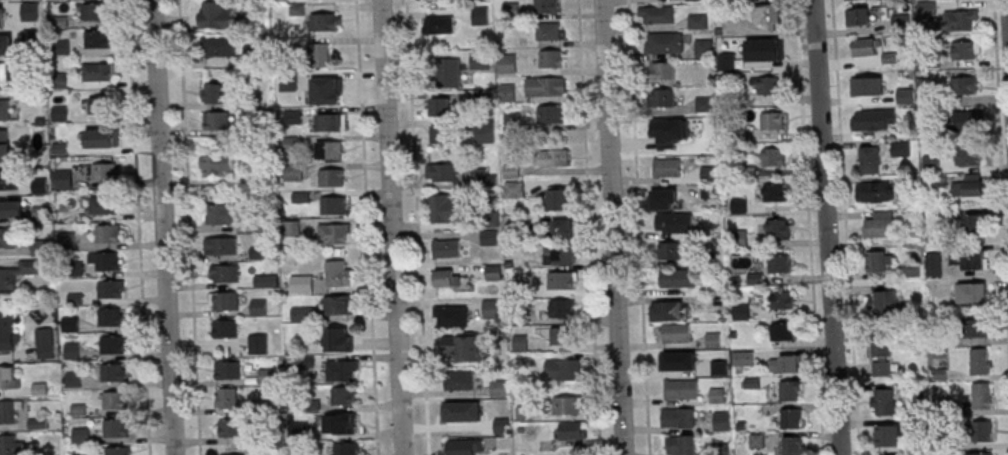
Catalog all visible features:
building: (547, 6)
building: (96, 12)
building: (217, 14)
building: (657, 14)
building: (481, 15)
building: (768, 15)
building: (859, 16)
building: (962, 20)
building: (326, 21)
building: (698, 21)
building: (901, 22)
building: (440, 24)
building: (549, 31)
building: (7, 39)
building: (99, 39)
building: (665, 42)
building: (219, 46)
building: (863, 46)
building: (703, 49)
building: (764, 49)
building: (967, 49)
building: (320, 55)
building: (551, 59)
building: (480, 60)
building: (508, 62)
building: (663, 70)
building: (6, 71)
building: (450, 71)
building: (98, 72)
building: (965, 85)
building: (334, 86)
building: (552, 86)
building: (767, 86)
building: (869, 88)
building: (508, 91)
building: (214, 93)
building: (904, 95)
building: (662, 98)
building: (102, 106)
building: (441, 106)
building: (5, 109)
building: (550, 114)
building: (874, 119)
building: (218, 121)
building: (331, 121)
building: (772, 121)
building: (968, 121)
building: (668, 129)
building: (486, 134)
building: (3, 135)
building: (99, 138)
building: (901, 148)
building: (327, 149)
building: (5, 152)
building: (971, 155)
building: (775, 156)
building: (553, 157)
building: (870, 159)
building: (932, 162)
building: (216, 165)
building: (668, 167)
building: (105, 171)
building: (444, 172)
building: (332, 178)
building: (64, 179)
building: (9, 180)
building: (969, 186)
building: (515, 189)
building: (875, 191)
building: (776, 192)
building: (561, 198)
building: (664, 199)
building: (104, 204)
building: (333, 205)
building: (447, 208)
building: (11, 209)
building: (225, 212)
building: (674, 222)
building: (880, 224)
building: (976, 224)
road: (139, 227)
road: (164, 227)
road: (190, 227)
road: (367, 227)
road: (393, 227)
road: (417, 227)
building: (563, 227)
road: (590, 227)
road: (615, 227)
road: (639, 227)
building: (779, 227)
road: (810, 227)
road: (828, 227)
road: (846, 227)
building: (292, 228)
building: (108, 233)
building: (331, 233)
building: (490, 237)
building: (8, 238)
building: (221, 246)
building: (40, 247)
building: (446, 248)
building: (670, 250)
building: (565, 253)
building: (969, 260)
building: (878, 261)
building: (109, 262)
building: (781, 263)
building: (494, 271)
building: (18, 273)
building: (227, 274)
building: (340, 274)
building: (445, 278)
building: (678, 278)
building: (564, 280)
building: (303, 284)
building: (110, 289)
building: (977, 292)
building: (783, 299)
building: (886, 301)
building: (225, 302)
building: (341, 304)
building: (494, 308)
building: (562, 308)
building: (672, 311)
building: (302, 313)
building: (450, 316)
building: (113, 317)
building: (979, 327)
building: (226, 329)
building: (783, 331)
building: (7, 332)
building: (673, 332)
building: (561, 335)
building: (338, 338)
building: (713, 339)
building: (45, 343)
building: (113, 344)
building: (462, 348)
building: (882, 357)
building: (744, 358)
building: (679, 361)
building: (981, 361)
building: (785, 363)
building: (228, 369)
building: (563, 369)
building: (342, 370)
building: (114, 373)
building: (9, 378)
building: (459, 380)
building: (40, 383)
building: (681, 389)
building: (790, 390)
building: (343, 395)
building: (981, 396)
building: (227, 397)
building: (116, 400)
building: (883, 402)
building: (569, 404)
building: (79, 409)
building: (10, 411)
building: (524, 412)
building: (791, 417)
building: (678, 418)
building: (462, 419)
building: (722, 420)
building: (38, 423)
building: (346, 423)
building: (232, 426)
building: (116, 429)
building: (572, 429)
building: (982, 431)
building: (82, 434)
building: (889, 436)
building: (12, 445)
building: (682, 445)
building: (792, 445)
building: (462, 447)
building: (347, 448)
building: (120, 451)
building: (233, 452)
building: (981, 453)

